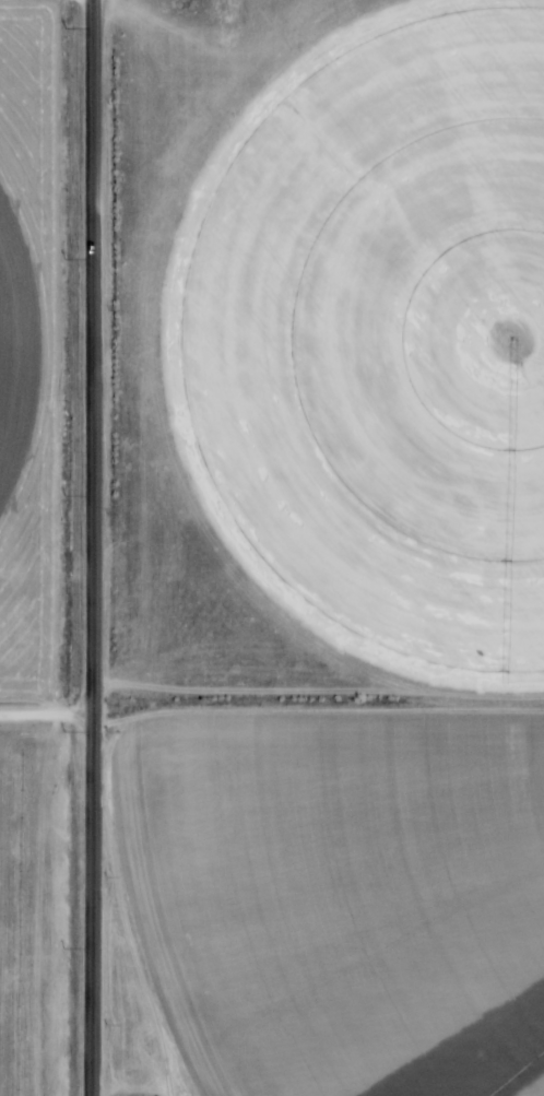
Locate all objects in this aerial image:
power tower: (66, 27)
power tower: (66, 258)
power tower: (64, 494)
road: (95, 547)
road: (319, 690)
road: (48, 719)
power tower: (64, 733)
power tower: (64, 946)

